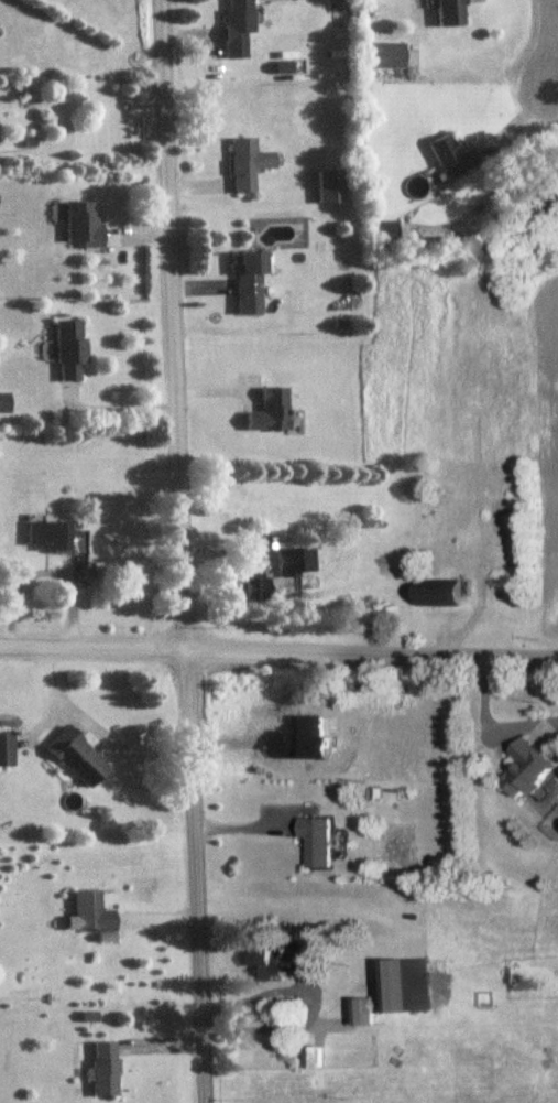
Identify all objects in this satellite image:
building: (451, 13)
building: (239, 28)
road: (546, 45)
building: (384, 56)
road: (552, 94)
building: (453, 158)
building: (248, 165)
building: (326, 187)
building: (83, 226)
building: (385, 233)
building: (251, 273)
building: (70, 350)
road: (111, 405)
building: (271, 413)
building: (56, 538)
road: (176, 551)
building: (288, 565)
road: (45, 567)
building: (254, 587)
building: (447, 595)
road: (278, 651)
road: (94, 724)
road: (491, 724)
building: (7, 750)
building: (79, 758)
building: (535, 770)
road: (252, 825)
building: (319, 842)
building: (90, 915)
building: (286, 966)
building: (398, 994)
road: (262, 1027)
building: (105, 1070)

